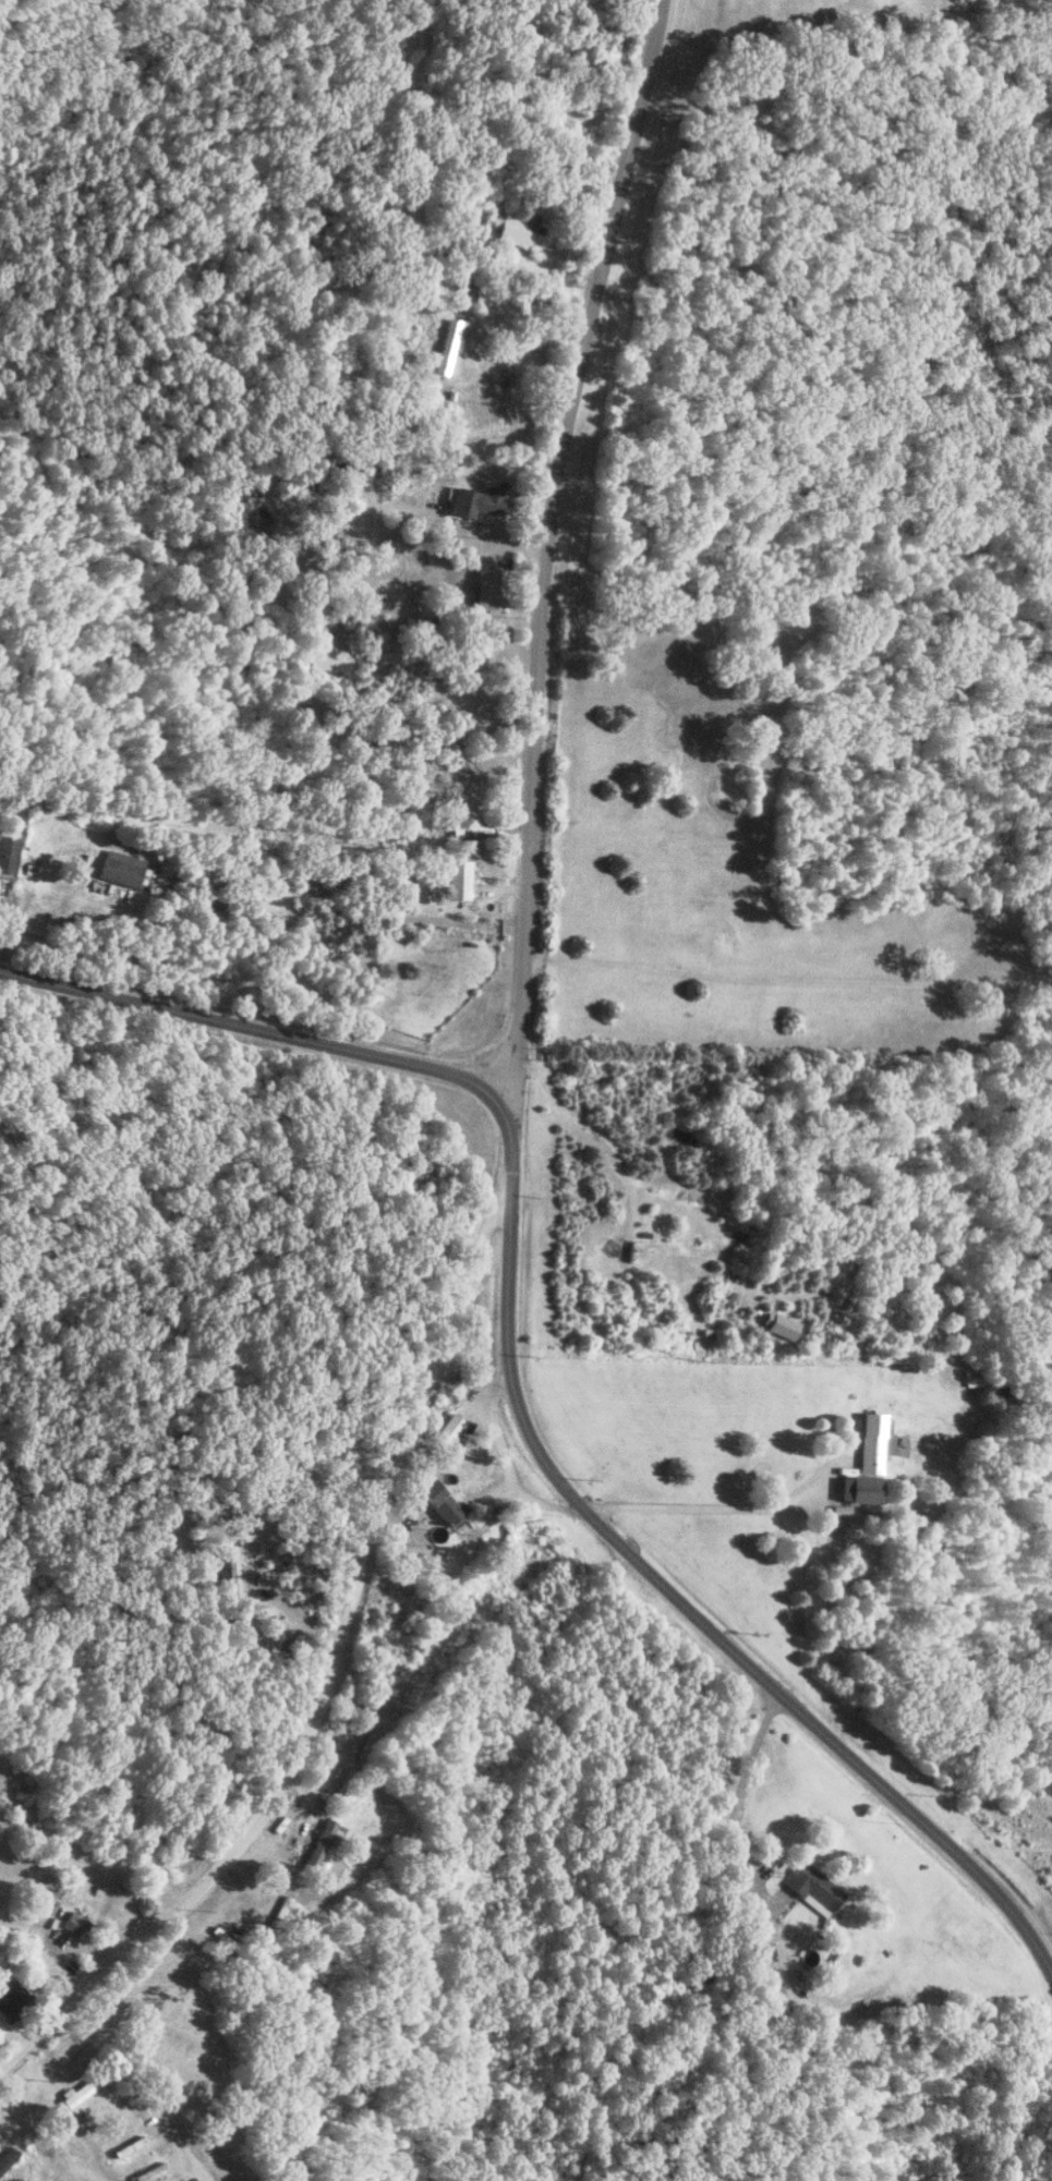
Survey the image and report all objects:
building: (521, 229)
building: (481, 363)
building: (477, 500)
building: (465, 543)
road: (546, 544)
building: (8, 856)
building: (121, 868)
building: (458, 879)
road: (787, 987)
road: (249, 1026)
building: (975, 1377)
building: (872, 1442)
building: (859, 1488)
building: (440, 1501)
road: (703, 1515)
road: (663, 1585)
road: (313, 1670)
road: (733, 1807)
building: (318, 1843)
building: (811, 1888)
building: (76, 1923)
building: (13, 2001)
road: (145, 2092)
building: (137, 2142)

